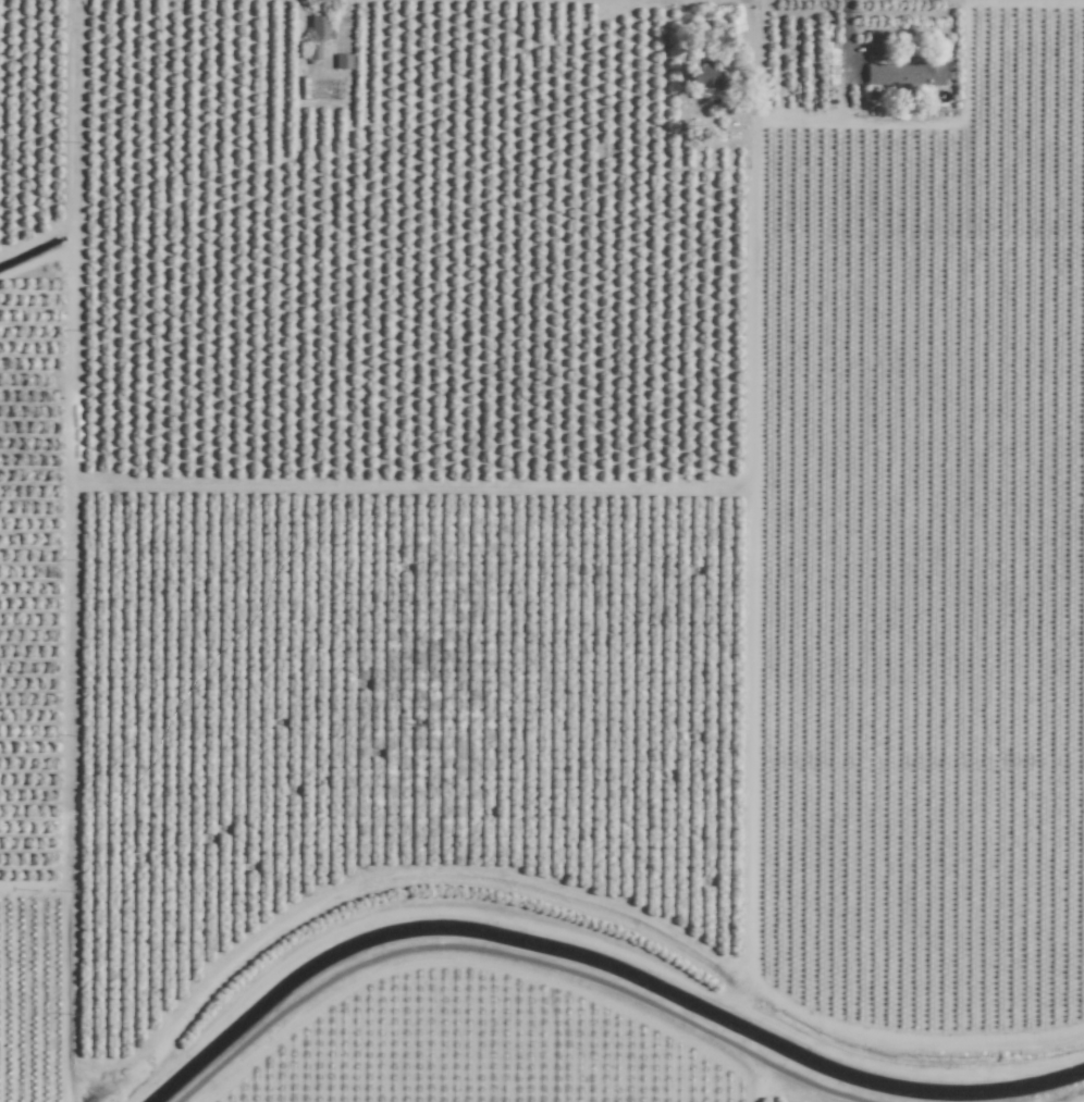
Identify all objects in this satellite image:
building: (319, 28)
building: (876, 45)
building: (313, 52)
road: (847, 60)
building: (342, 61)
building: (904, 73)
building: (702, 79)
road: (688, 89)
road: (855, 120)
road: (506, 961)

